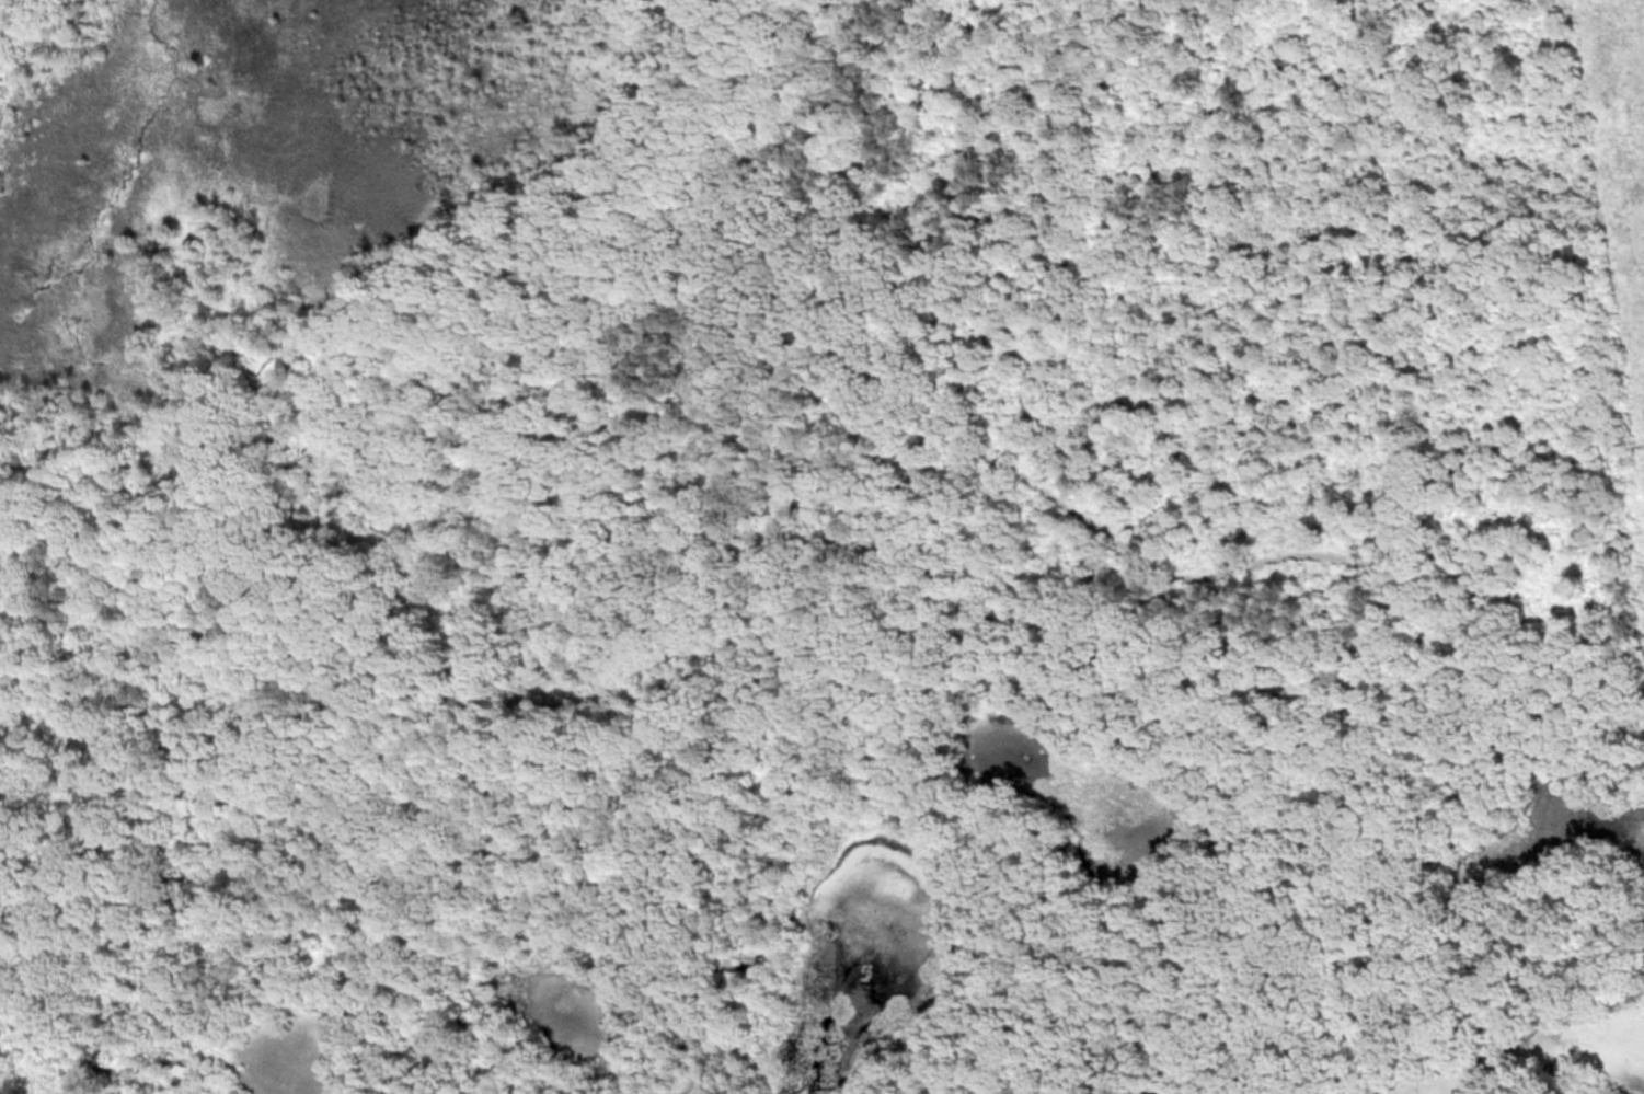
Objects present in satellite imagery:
park: (821, 546)

